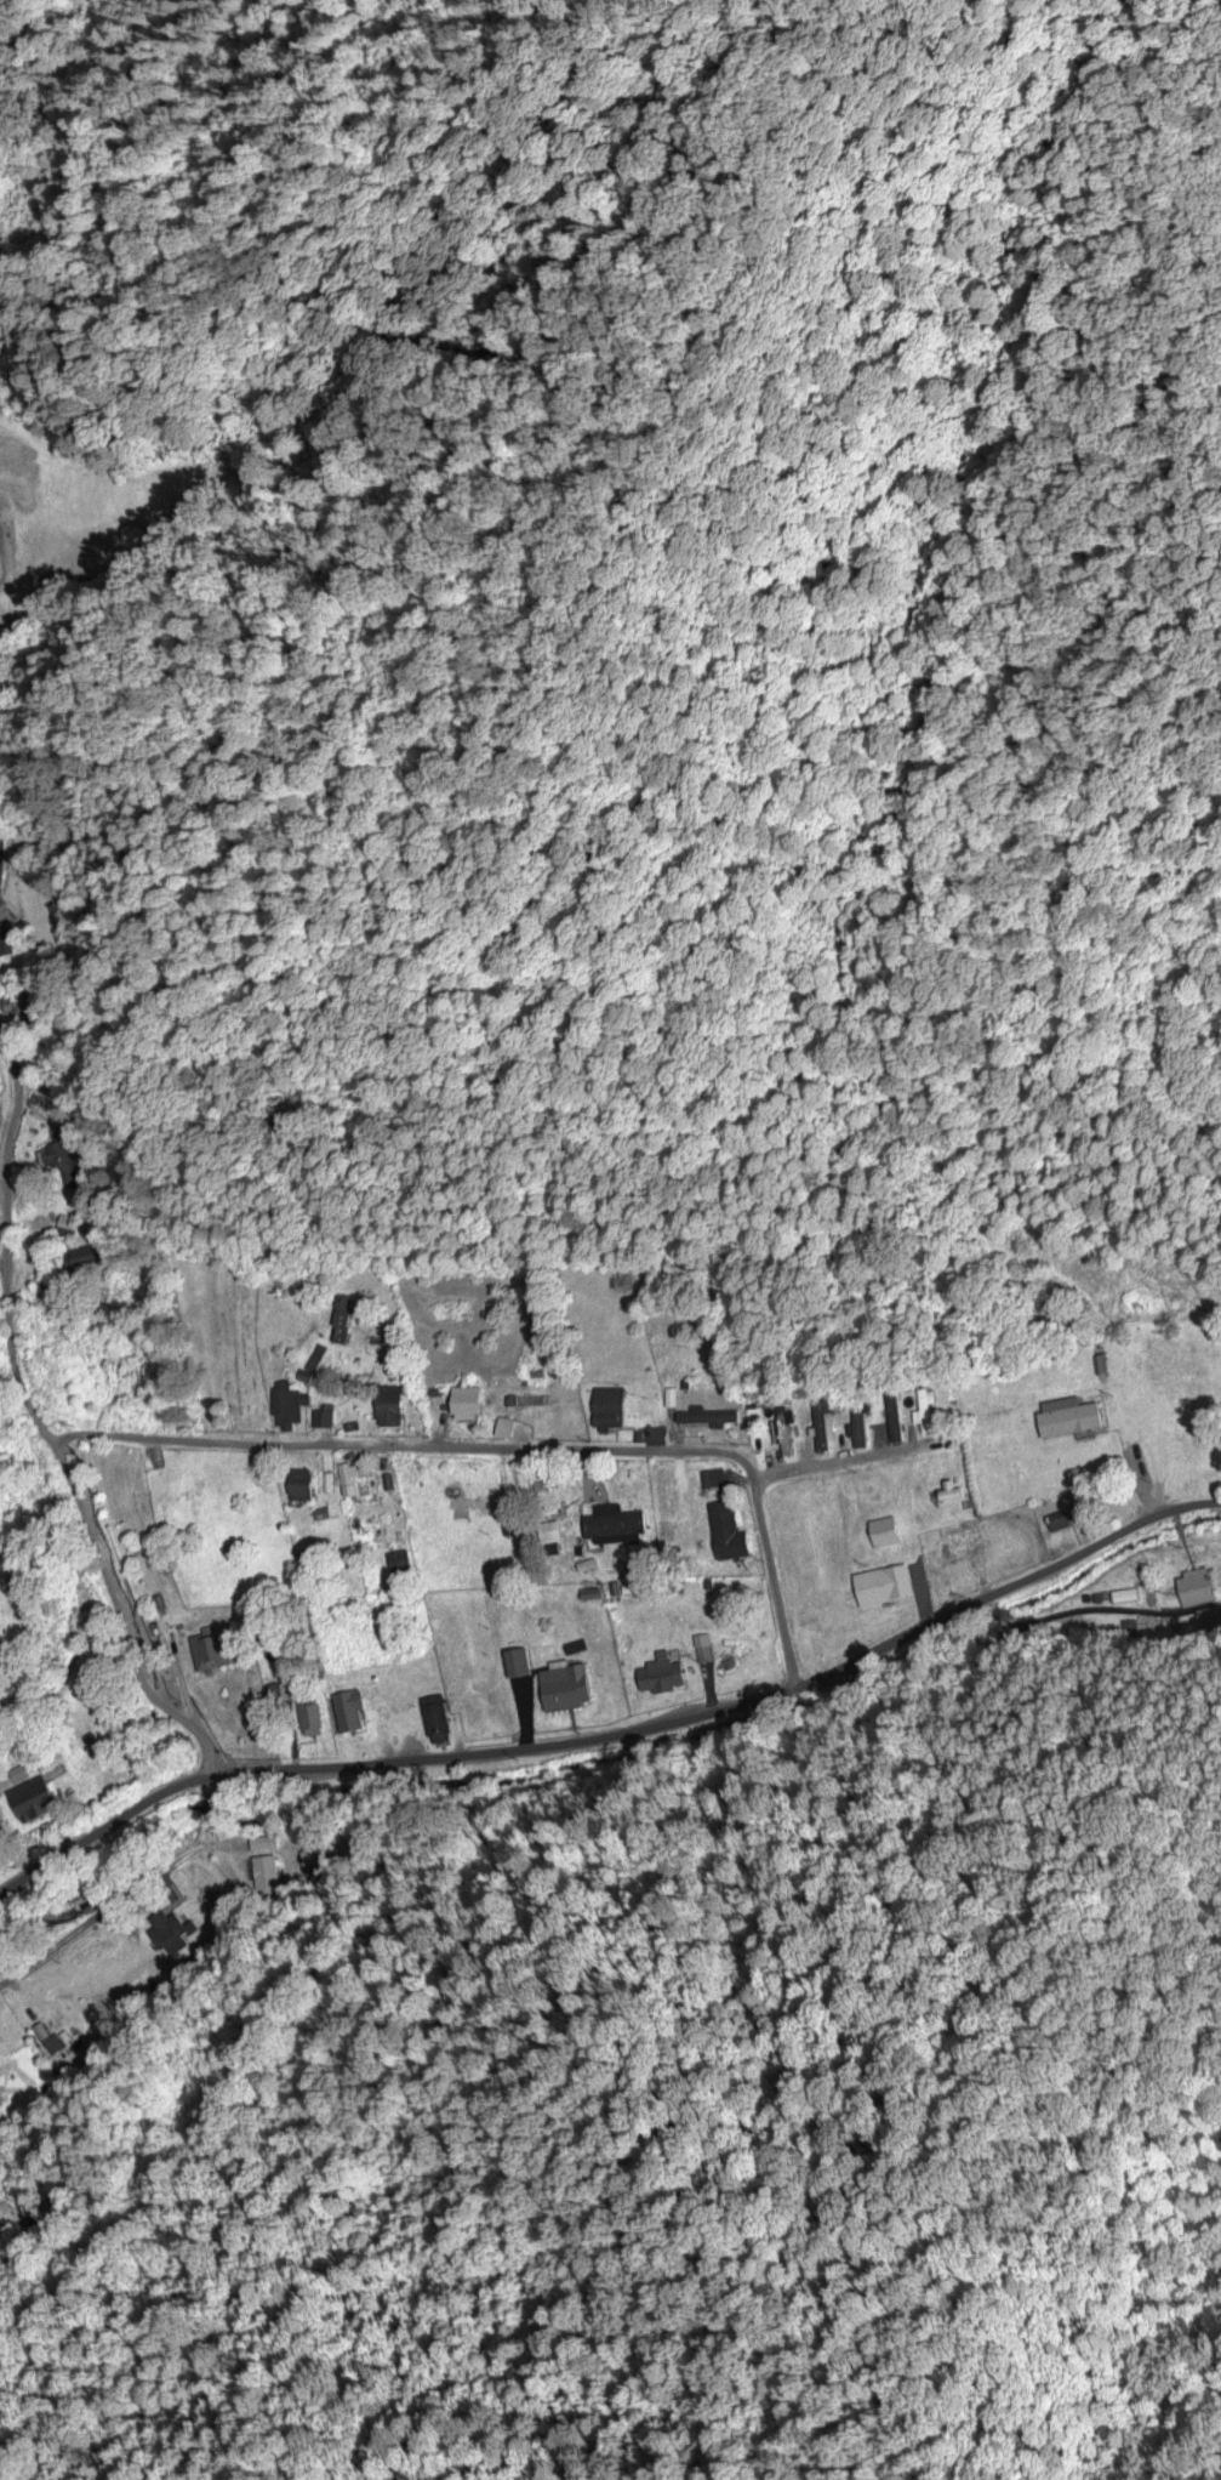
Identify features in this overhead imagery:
road: (5, 561)
building: (6, 944)
building: (18, 1006)
building: (65, 1161)
building: (82, 1259)
road: (2, 1270)
building: (347, 1331)
building: (394, 1337)
building: (312, 1365)
building: (466, 1405)
building: (388, 1406)
building: (286, 1409)
building: (607, 1410)
building: (892, 1417)
building: (323, 1418)
building: (707, 1420)
building: (1069, 1422)
road: (38, 1423)
building: (821, 1429)
building: (783, 1433)
road: (409, 1445)
road: (840, 1462)
building: (346, 1481)
building: (713, 1481)
building: (298, 1486)
building: (192, 1490)
building: (467, 1507)
building: (611, 1530)
building: (549, 1532)
building: (884, 1534)
building: (726, 1535)
building: (959, 1543)
road: (772, 1583)
building: (883, 1587)
building: (1196, 1588)
building: (1208, 1619)
building: (210, 1653)
building: (480, 1665)
building: (515, 1665)
building: (661, 1677)
building: (565, 1689)
building: (275, 1691)
road: (737, 1702)
building: (344, 1713)
building: (309, 1718)
building: (435, 1720)
building: (16, 1775)
road: (0, 1790)
building: (32, 1801)
road: (105, 1826)
building: (264, 1843)
building: (310, 1859)
building: (266, 1873)
road: (97, 1918)
building: (170, 1934)
building: (39, 2032)

